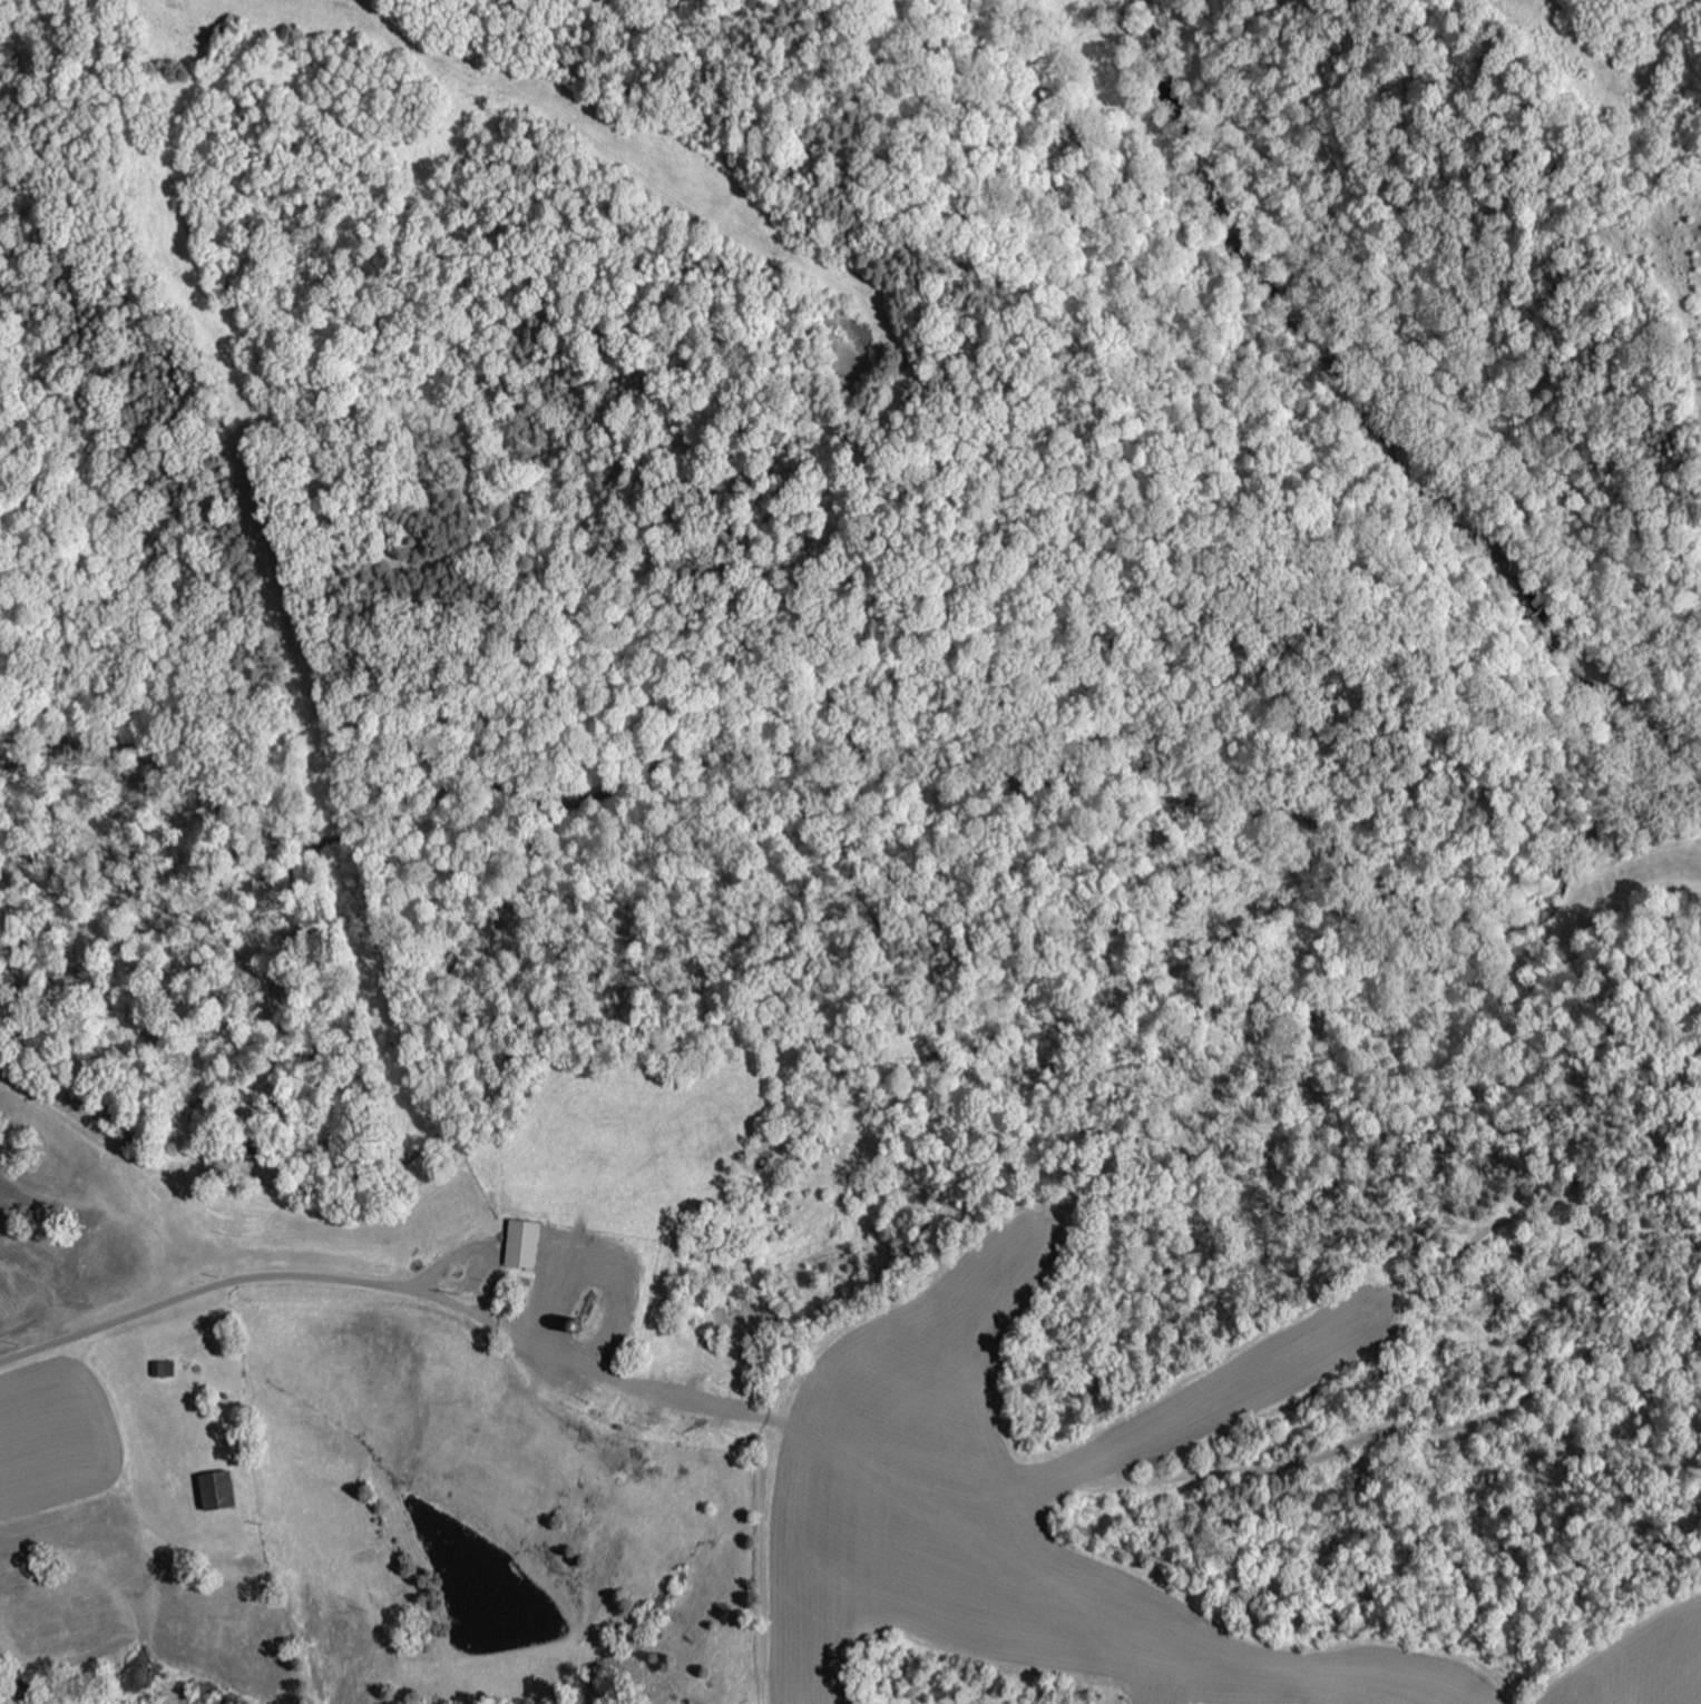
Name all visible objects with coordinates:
building: (521, 1244)
road: (113, 1323)
building: (218, 1489)

